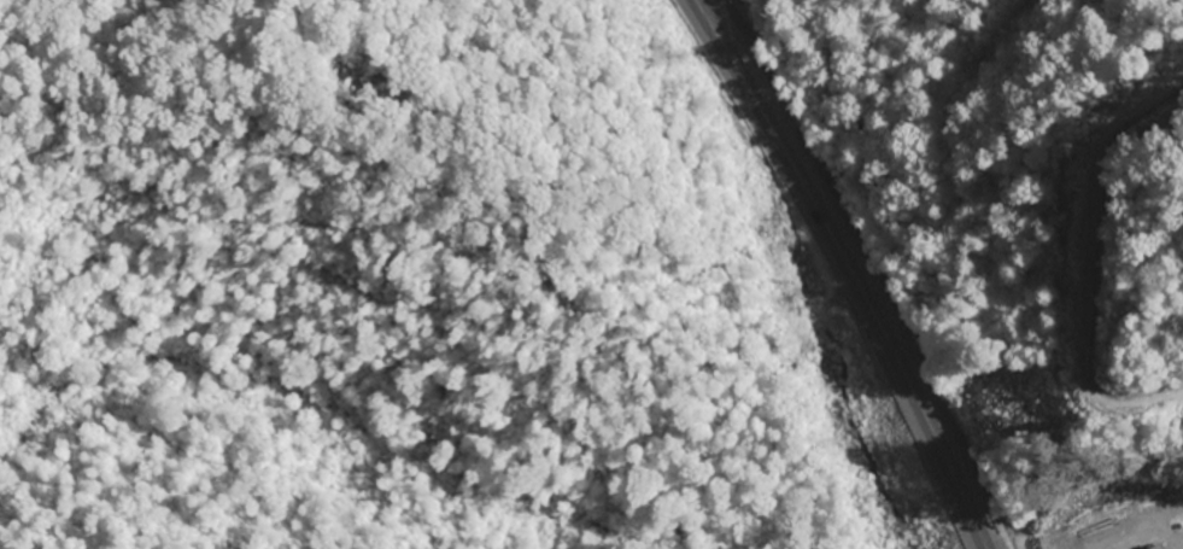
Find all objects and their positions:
road: (848, 269)
road: (1146, 538)
building: (1159, 548)

